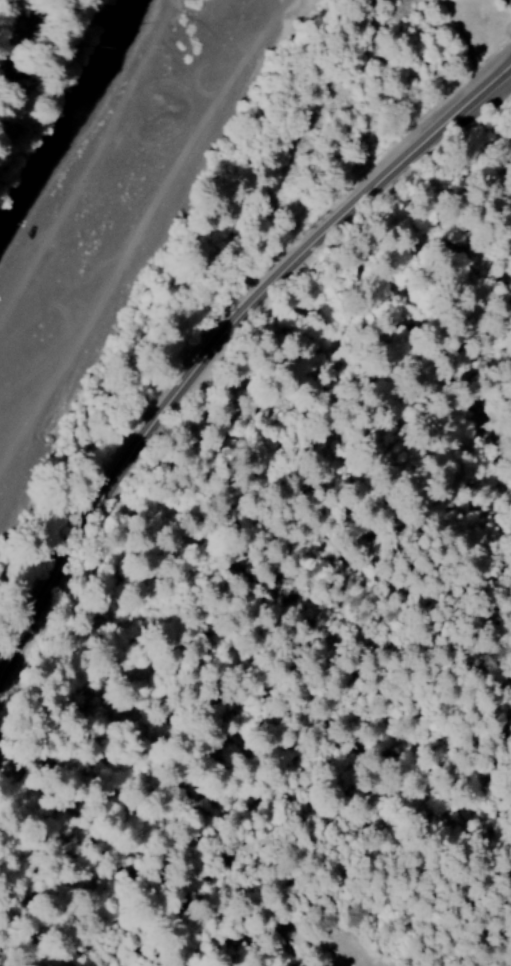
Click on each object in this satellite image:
river: (137, 254)
road: (216, 342)

